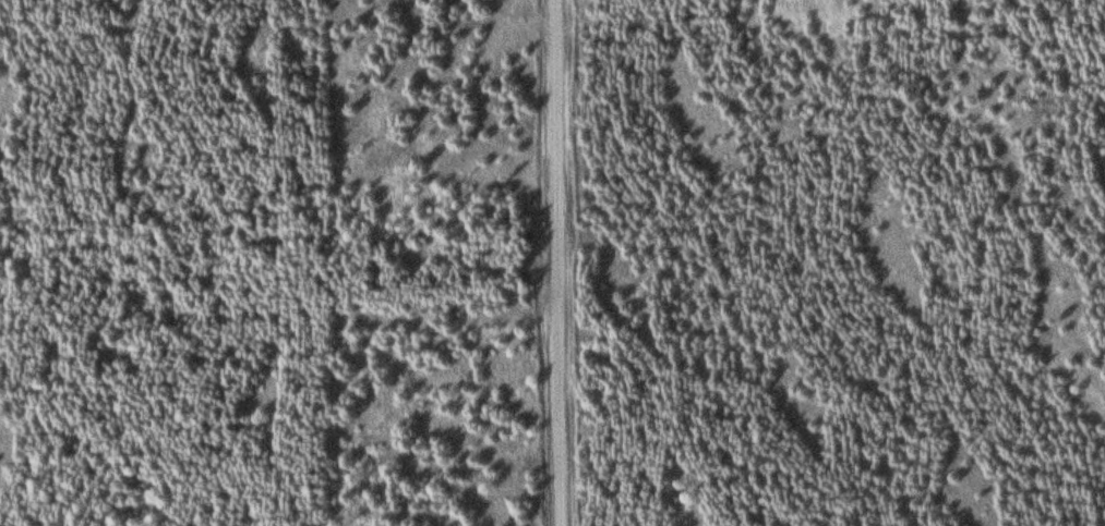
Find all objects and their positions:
road: (560, 262)

